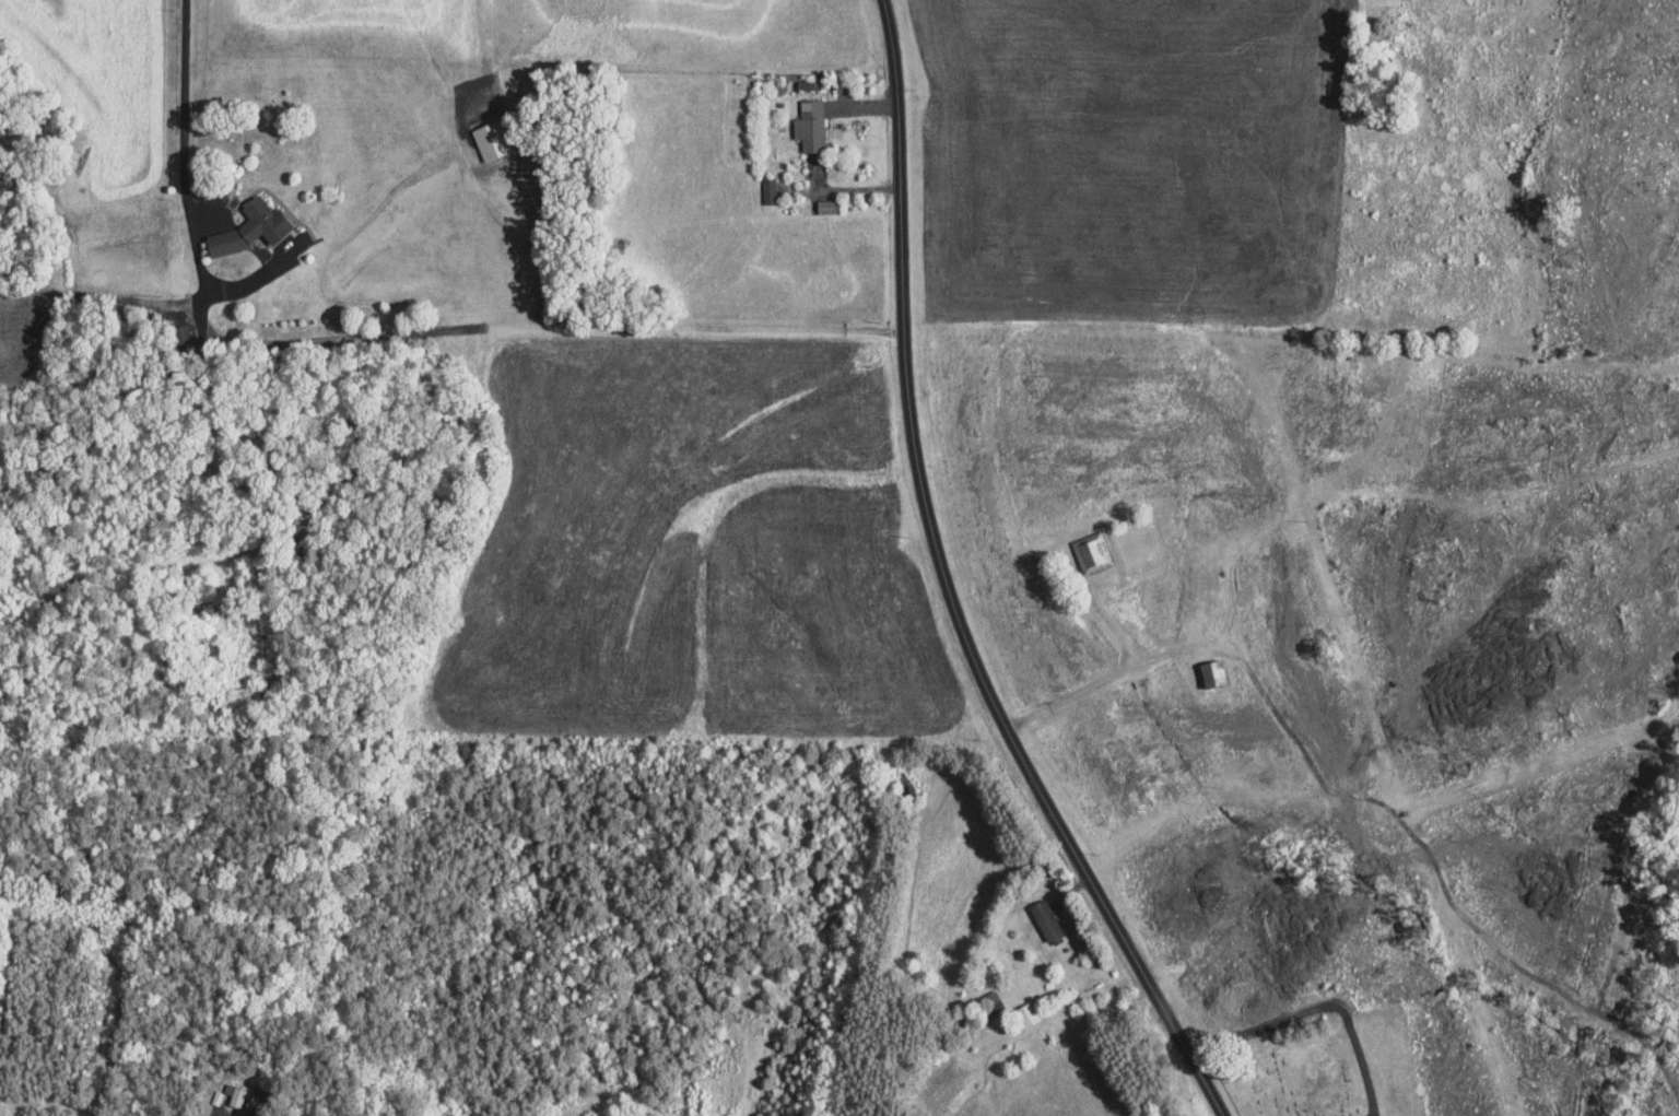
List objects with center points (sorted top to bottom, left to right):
building: (802, 83)
building: (808, 124)
road: (184, 130)
building: (488, 139)
building: (767, 189)
building: (247, 227)
building: (1091, 551)
road: (939, 589)
road: (1118, 667)
building: (1044, 919)
building: (1025, 1013)
building: (234, 1096)
road: (225, 1115)

